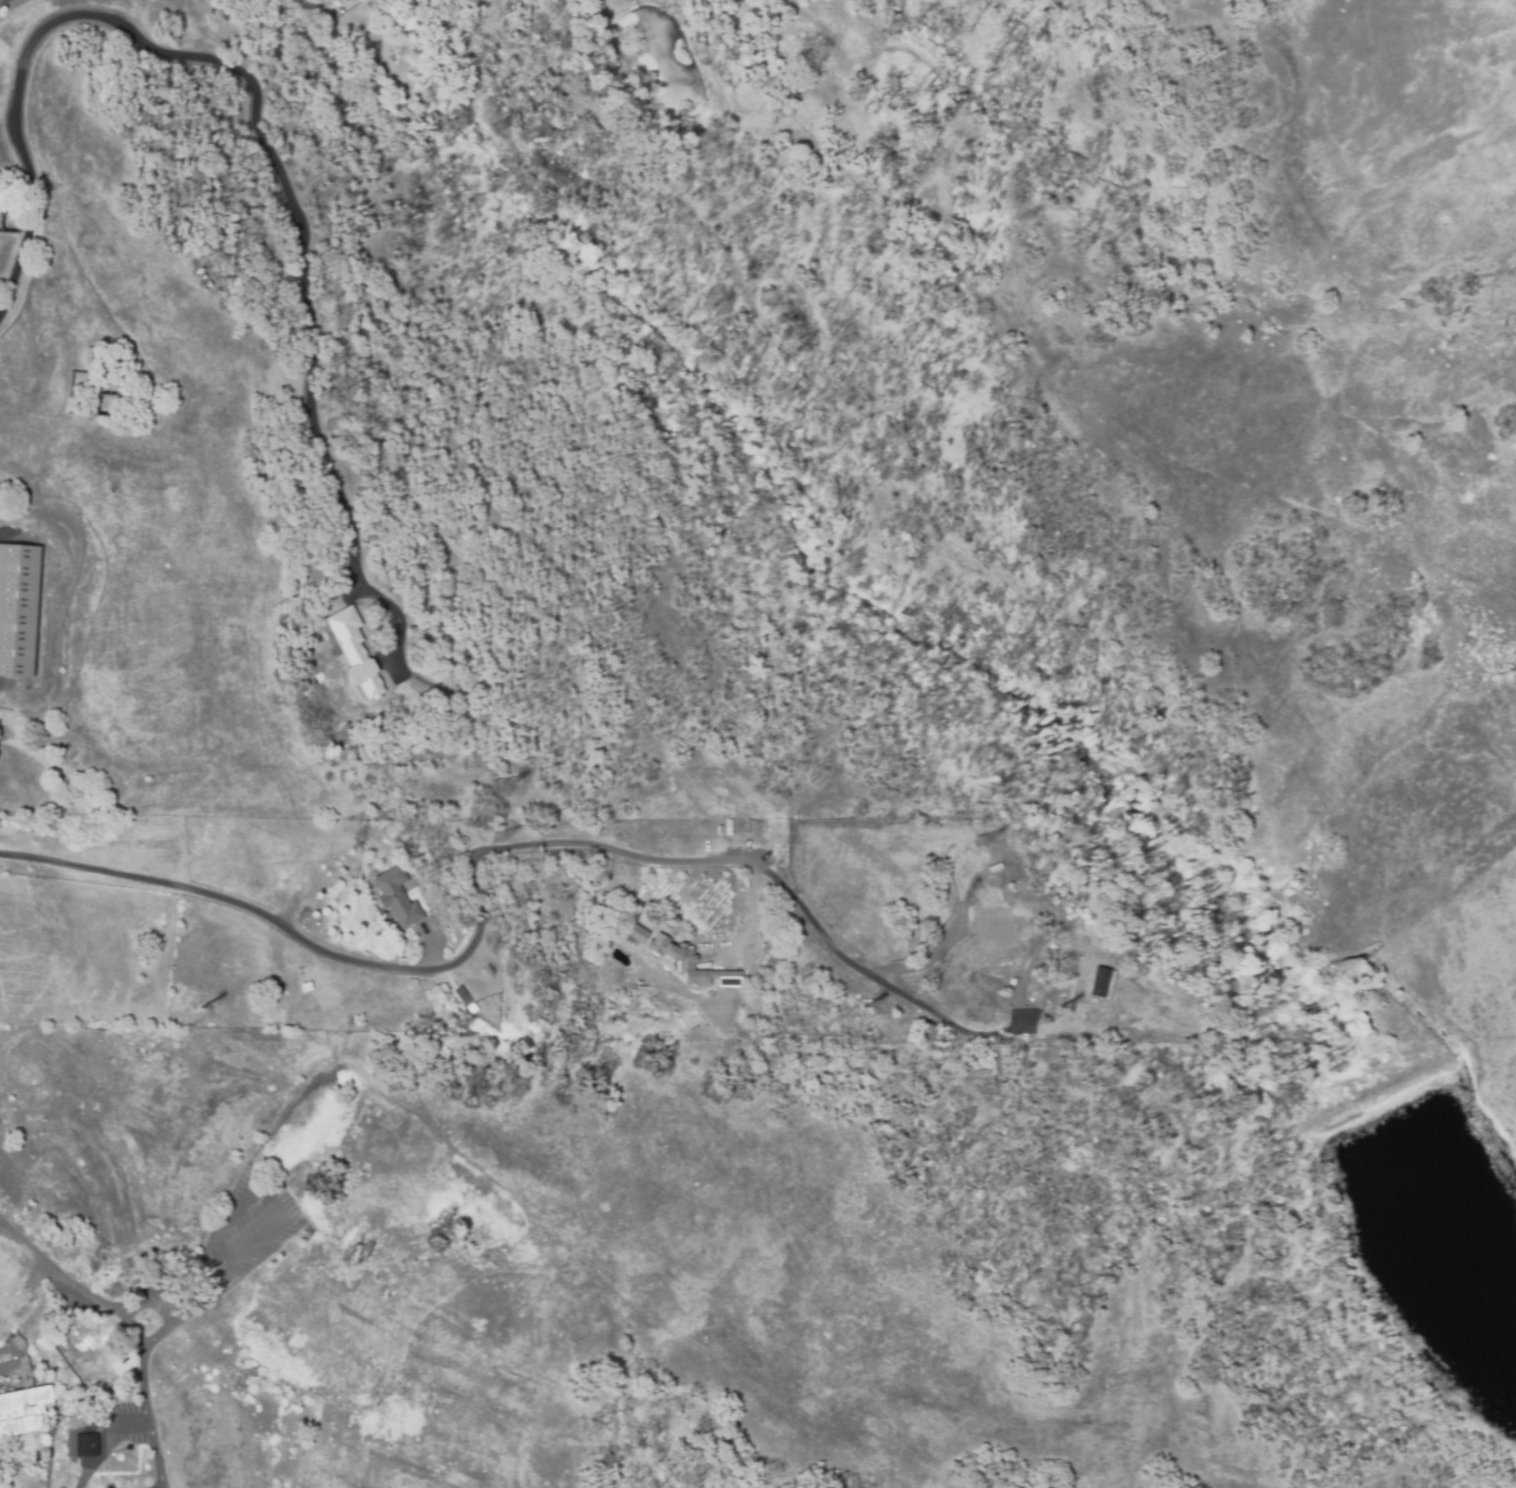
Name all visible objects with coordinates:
road: (255, 106)
building: (10, 224)
building: (18, 609)
building: (353, 652)
power tower: (495, 788)
power tower: (979, 794)
building: (753, 824)
power tower: (976, 843)
power tower: (506, 849)
power tower: (508, 856)
building: (397, 896)
road: (479, 923)
building: (642, 937)
road: (940, 942)
building: (1099, 982)
building: (282, 990)
building: (460, 995)
building: (730, 1019)
road: (954, 1026)
road: (273, 1226)
road: (223, 1250)
road: (179, 1268)
road: (71, 1283)
road: (154, 1339)
road: (143, 1396)
building: (23, 1400)
parking lot: (116, 1419)
road: (126, 1419)
building: (83, 1444)

